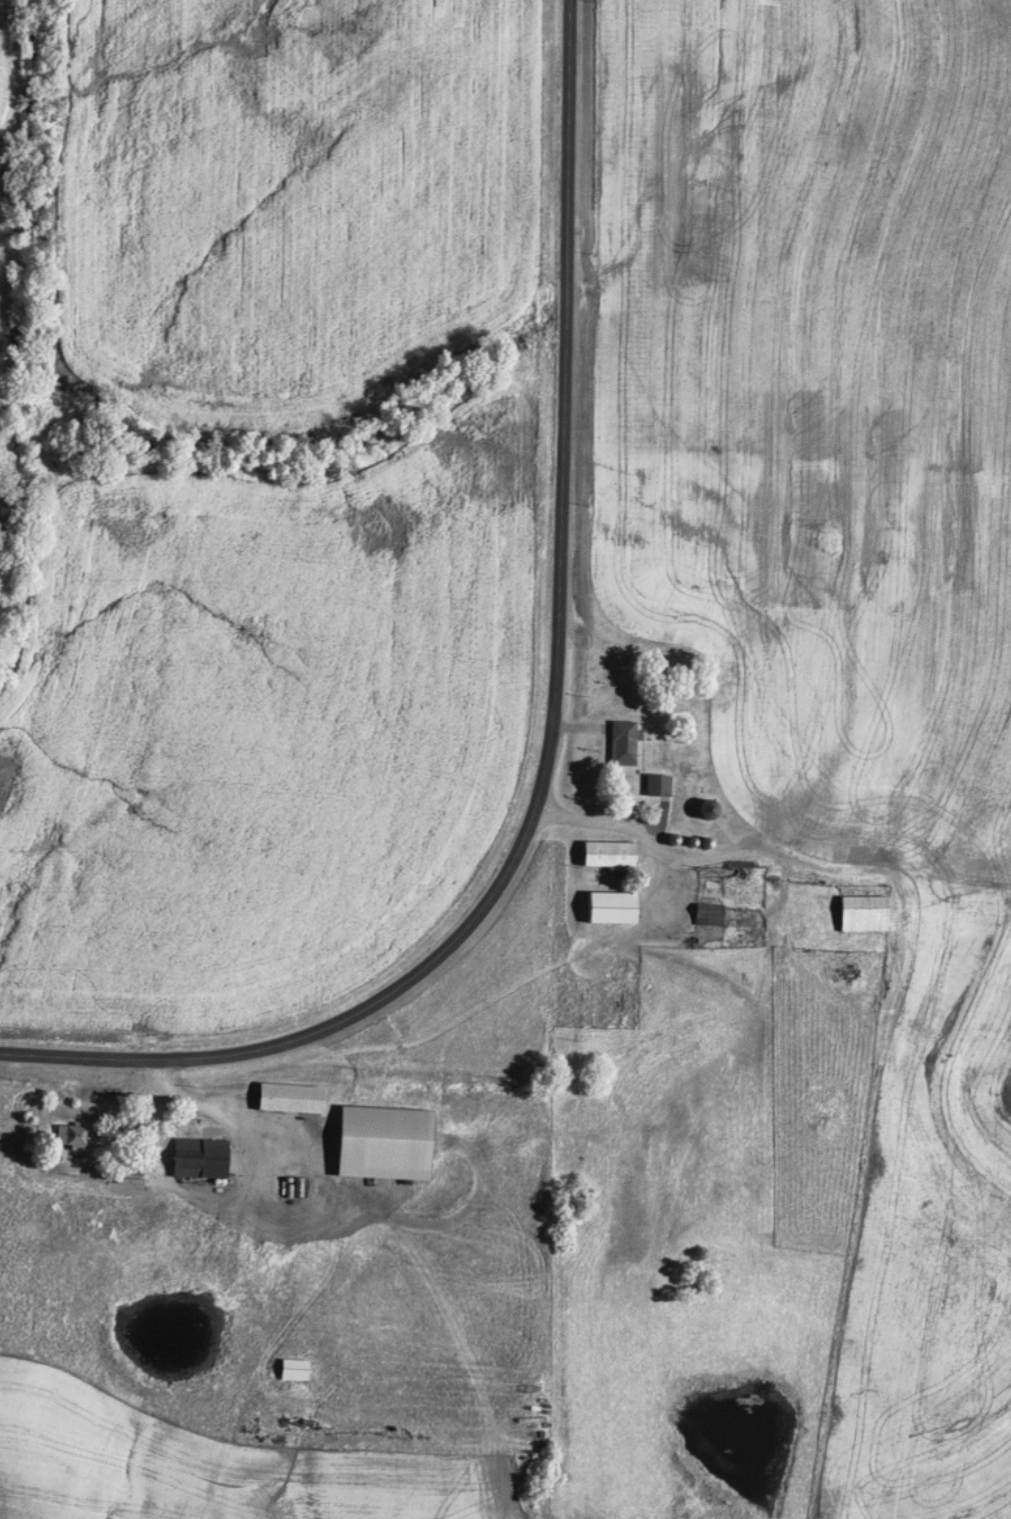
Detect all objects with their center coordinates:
road: (554, 726)
building: (620, 743)
building: (654, 785)
building: (702, 809)
building: (605, 854)
road: (889, 871)
building: (607, 907)
building: (859, 913)
building: (285, 1096)
building: (67, 1135)
building: (195, 1156)
road: (384, 1234)
building: (291, 1369)

